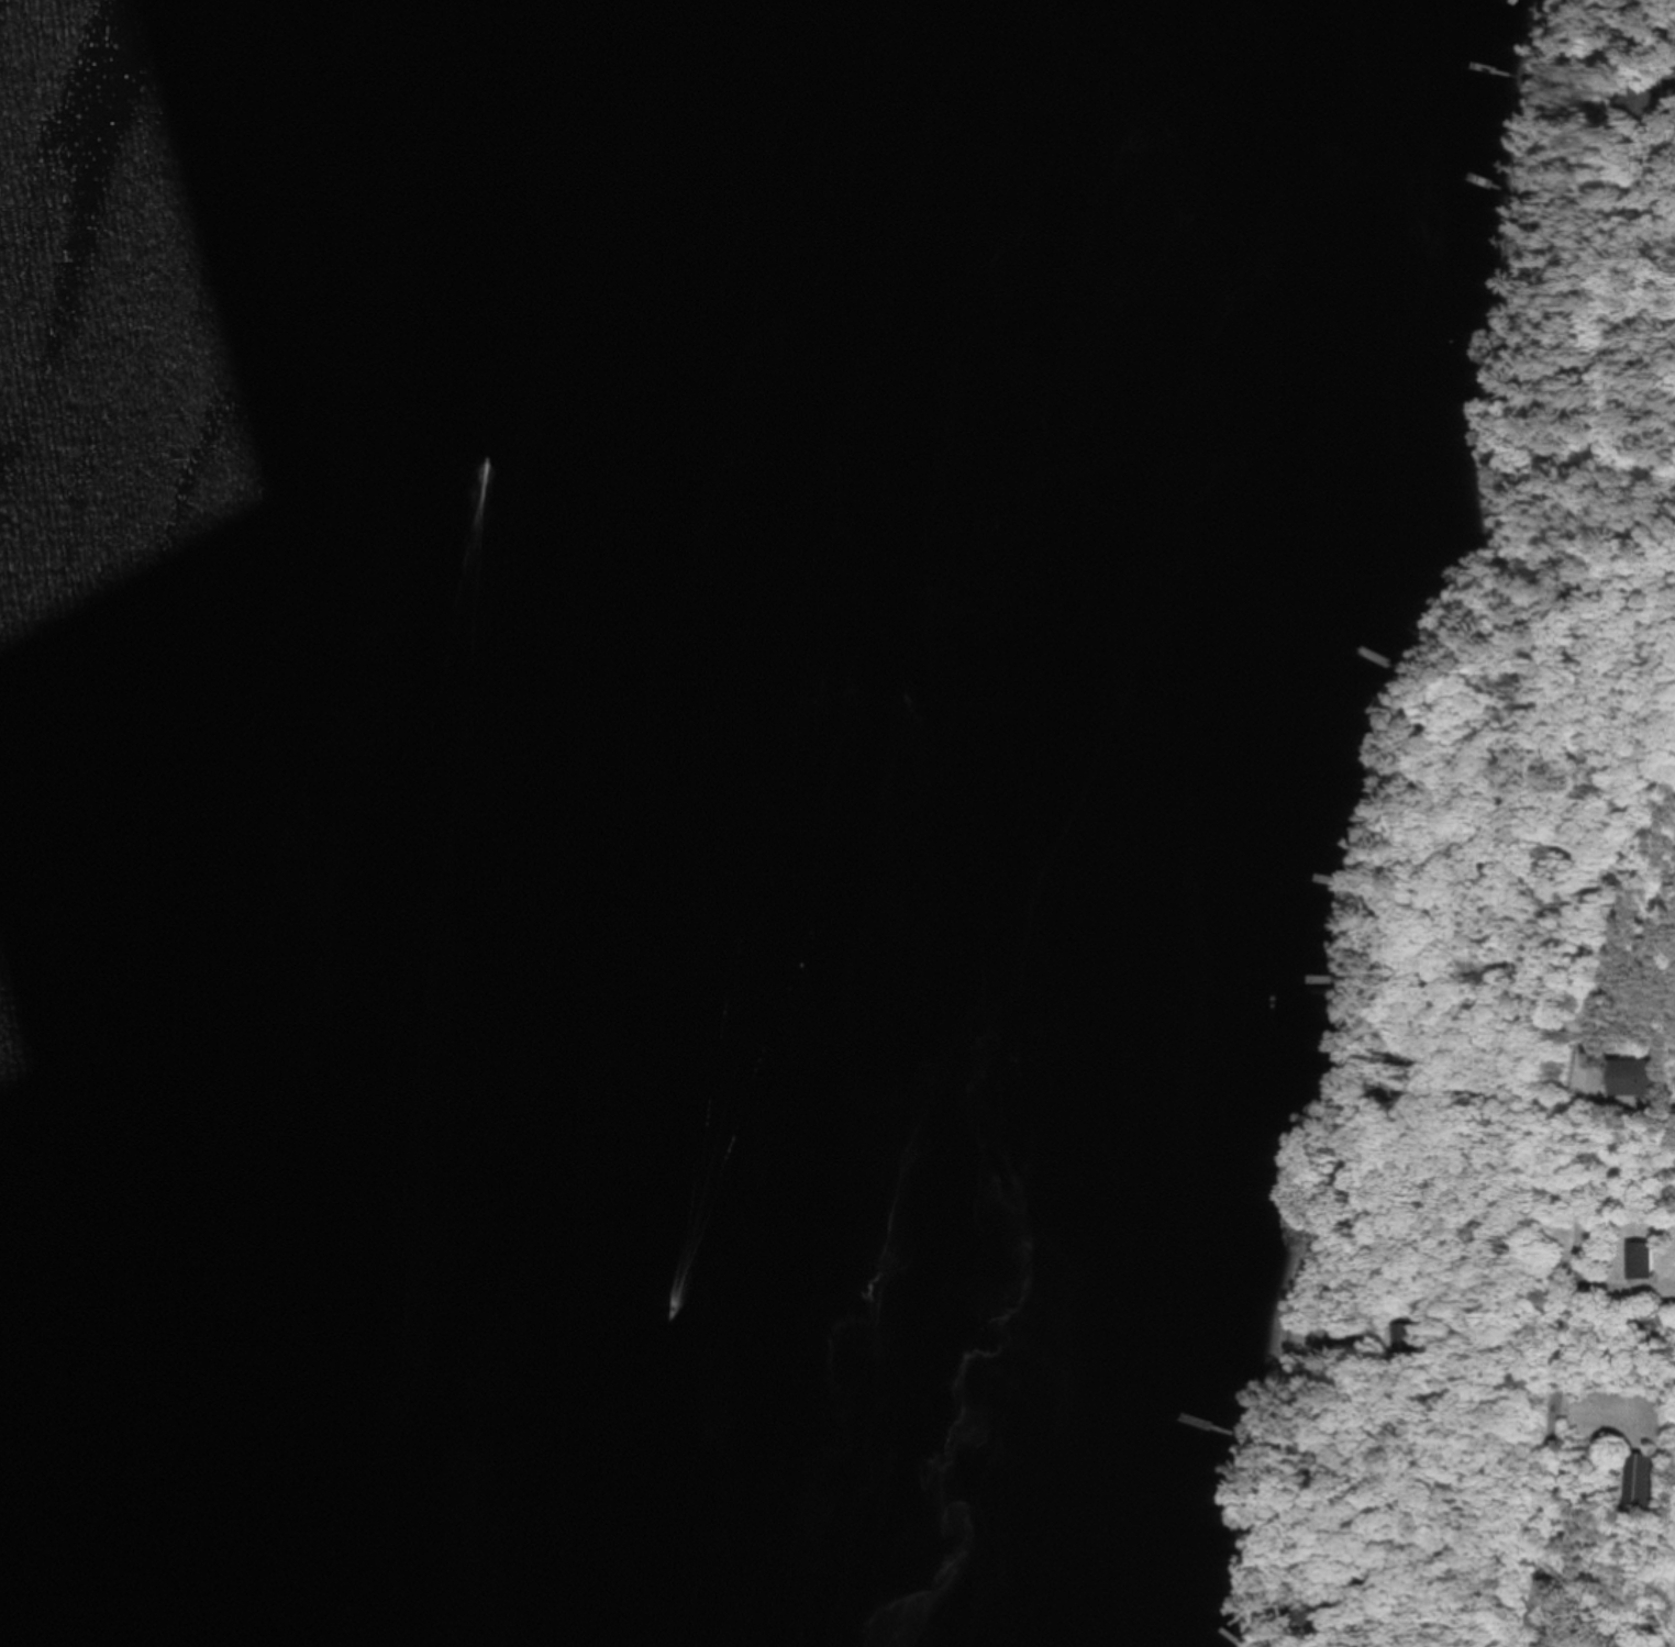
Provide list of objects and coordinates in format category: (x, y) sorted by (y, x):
river: (685, 823)
building: (1637, 1077)
building: (1644, 1260)
building: (1409, 1337)
building: (1642, 1479)
crop: (1672, 1609)

